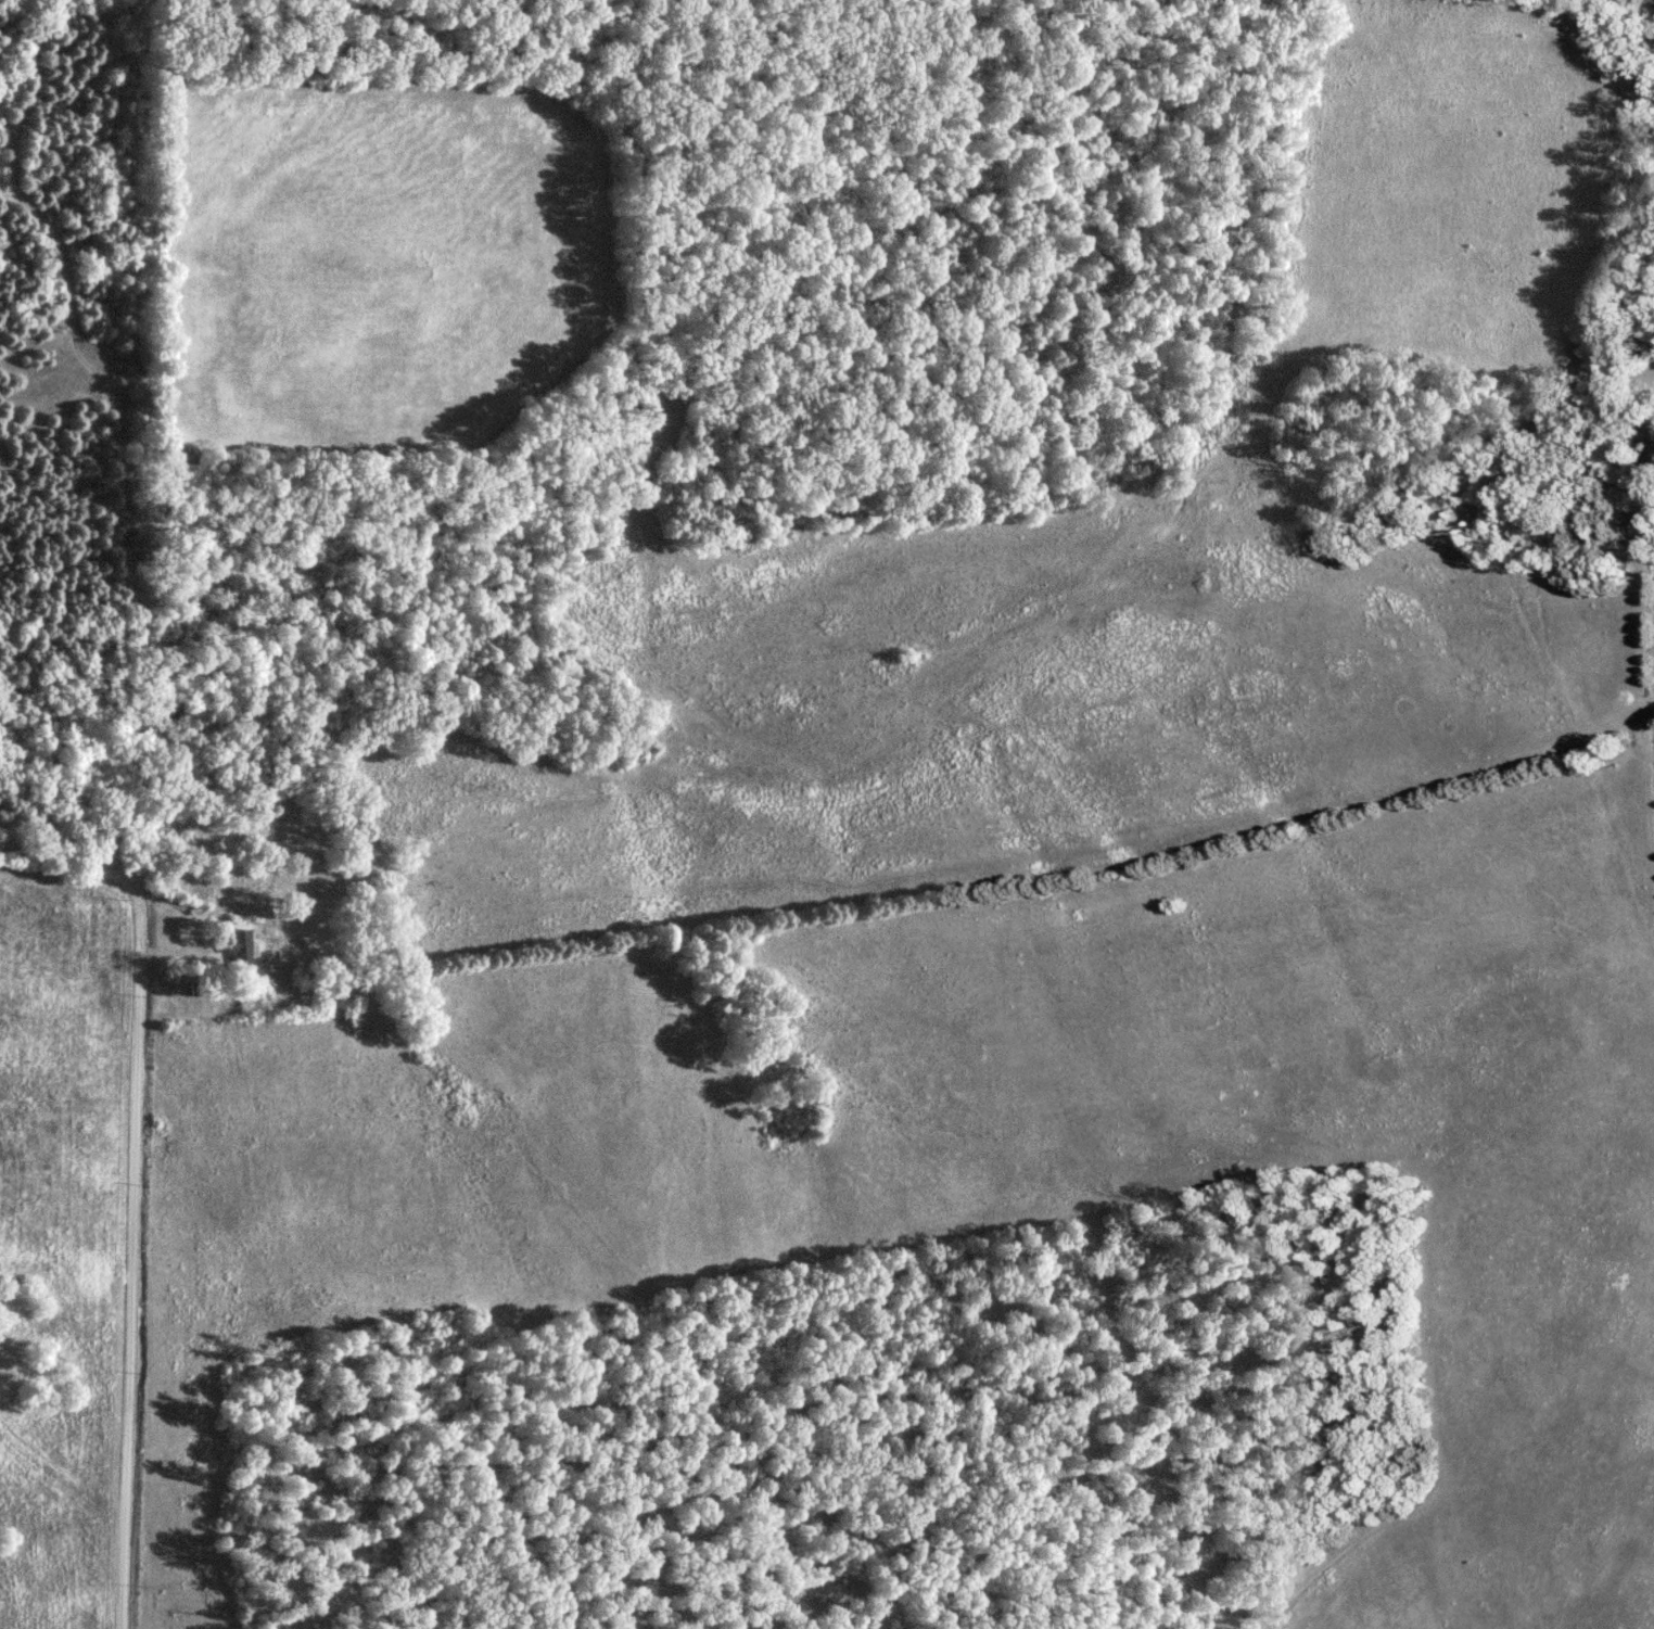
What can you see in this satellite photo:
building: (250, 955)
road: (133, 1185)

